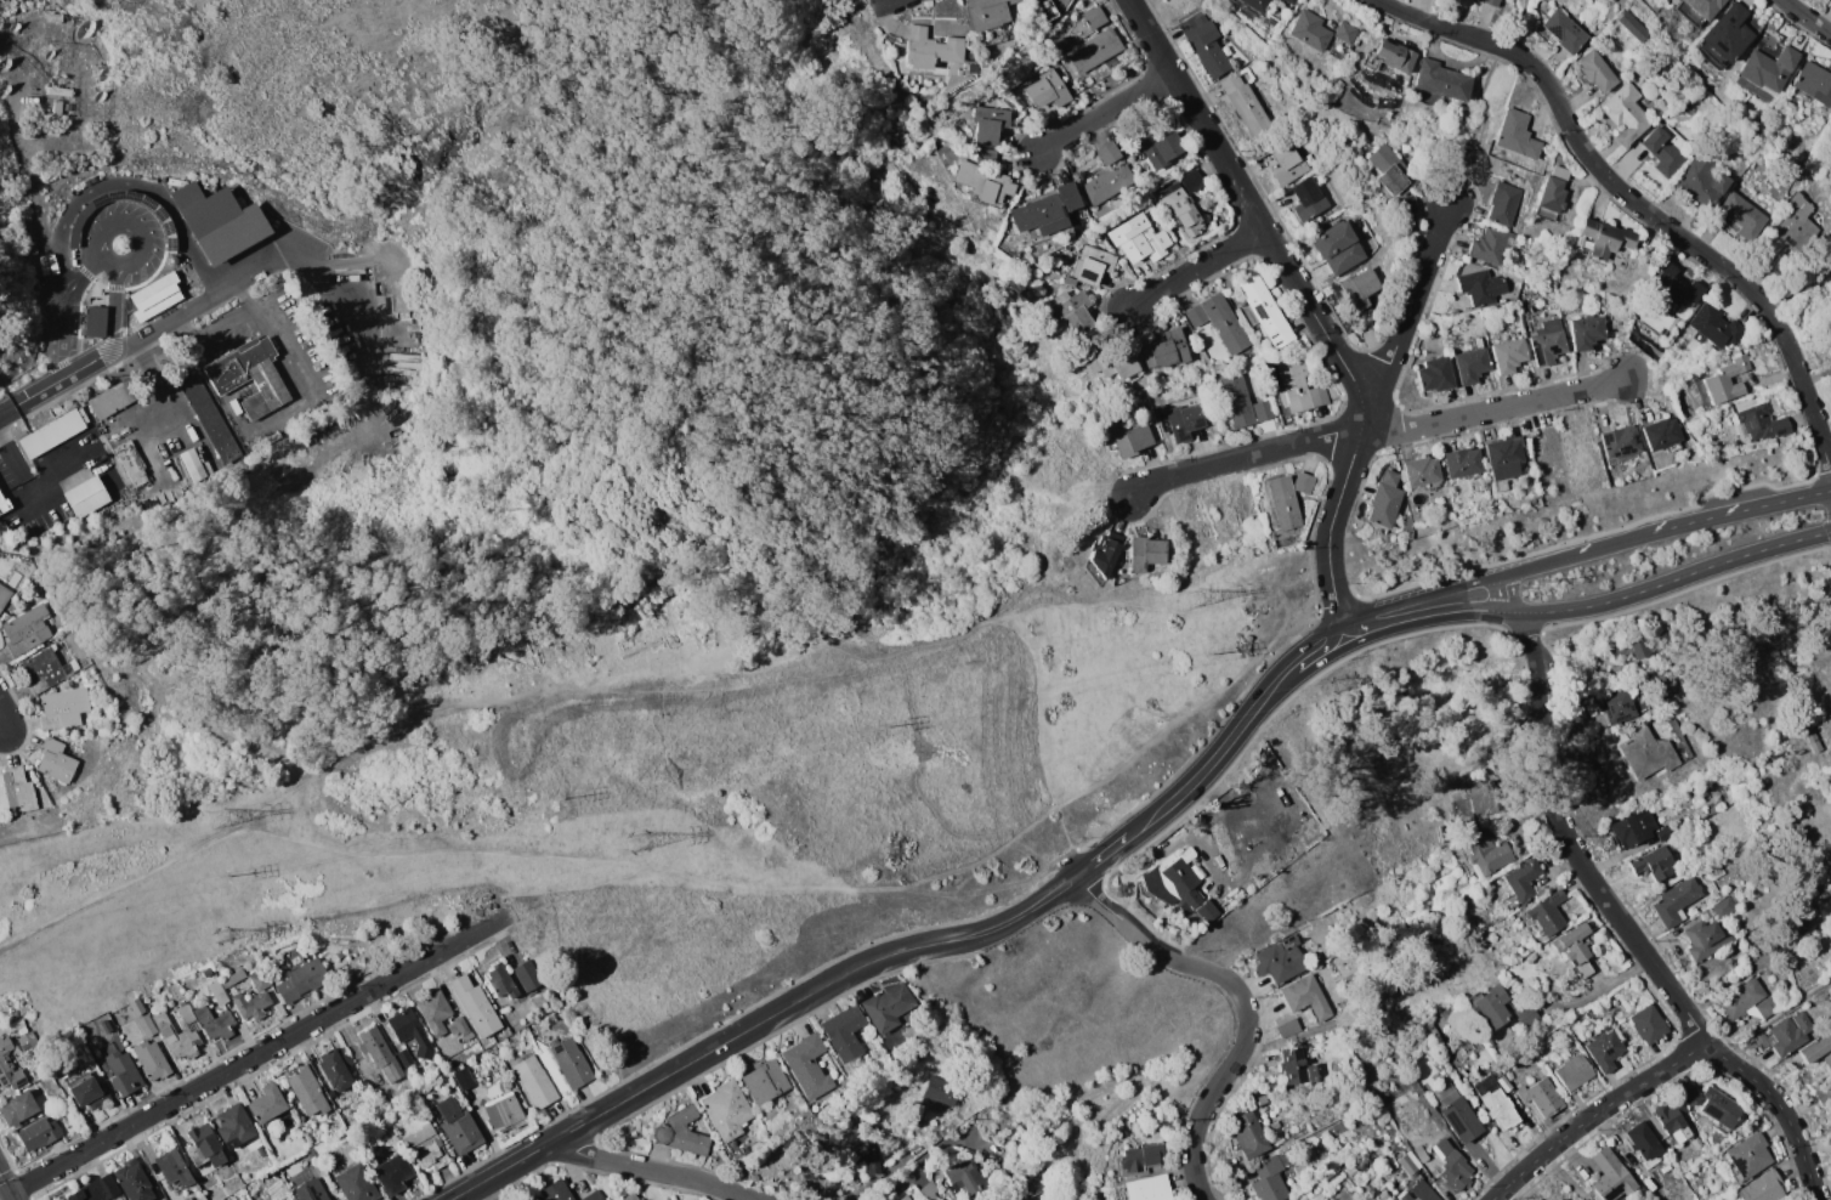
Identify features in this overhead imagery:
building: (1292, 1)
road: (857, 2)
road: (878, 2)
building: (1490, 2)
building: (1257, 5)
park: (8, 7)
building: (1047, 9)
building: (1696, 10)
building: (987, 13)
road: (1810, 15)
building: (55, 17)
building: (1094, 17)
building: (1310, 30)
building: (1563, 32)
building: (1345, 33)
building: (1724, 38)
building: (1203, 46)
building: (930, 49)
building: (1095, 51)
building: (1393, 56)
building: (1768, 68)
building: (1595, 70)
building: (1440, 80)
building: (1814, 83)
building: (1048, 90)
building: (58, 91)
building: (1246, 104)
building: (57, 107)
building: (68, 107)
road: (1484, 107)
building: (1626, 114)
road: (1111, 118)
building: (990, 121)
park: (510, 126)
building: (1515, 135)
building: (1160, 148)
building: (1665, 149)
building: (1287, 163)
building: (1387, 169)
building: (1107, 176)
building: (983, 177)
road: (127, 181)
building: (1191, 181)
building: (1702, 181)
building: (1552, 193)
road: (1626, 196)
building: (1306, 199)
building: (1502, 203)
building: (1406, 204)
building: (1180, 209)
building: (1047, 210)
road: (1262, 211)
building: (1744, 215)
road: (144, 216)
building: (1795, 216)
building: (165, 221)
building: (217, 221)
building: (1139, 238)
building: (1602, 238)
building: (1490, 244)
building: (1338, 248)
building: (1090, 266)
road: (107, 271)
road: (1206, 272)
road: (318, 278)
building: (1480, 285)
building: (1677, 287)
building: (1359, 288)
park: (19, 289)
road: (244, 295)
building: (154, 296)
road: (1415, 305)
building: (1264, 310)
building: (1071, 311)
road: (66, 313)
road: (176, 316)
road: (117, 317)
building: (1218, 321)
building: (92, 322)
building: (1714, 326)
building: (1586, 330)
building: (1829, 330)
road: (815, 332)
building: (1547, 341)
road: (293, 349)
building: (1166, 350)
building: (1508, 355)
building: (1111, 360)
building: (1470, 364)
building: (249, 375)
building: (1434, 375)
road: (64, 378)
building: (1727, 381)
building: (1299, 385)
road: (161, 387)
building: (114, 397)
building: (1243, 402)
building: (200, 403)
road: (7, 409)
road: (1497, 412)
building: (1183, 420)
building: (1759, 423)
building: (52, 432)
building: (1662, 435)
building: (1130, 440)
building: (1619, 441)
road: (1249, 458)
building: (1503, 459)
building: (1462, 462)
building: (132, 463)
building: (193, 464)
building: (1421, 471)
road: (18, 475)
building: (86, 497)
building: (1288, 498)
building: (1384, 499)
building: (4, 505)
road: (1740, 510)
building: (1405, 517)
road: (1332, 530)
building: (1144, 553)
road: (1577, 554)
building: (1102, 555)
road: (1673, 579)
power tower: (1537, 587)
road: (1506, 594)
building: (4, 596)
road: (1422, 596)
power tower: (1187, 598)
road: (182, 606)
road: (1429, 615)
building: (27, 629)
road: (1020, 630)
road: (1323, 650)
building: (1627, 653)
power tower: (1203, 655)
building: (44, 670)
road: (1536, 681)
power tower: (1337, 683)
road: (492, 697)
building: (1617, 706)
building: (63, 708)
road: (6, 712)
power tower: (879, 728)
road: (1246, 730)
building: (1809, 732)
building: (1645, 753)
building: (1829, 755)
building: (56, 760)
building: (1767, 774)
road: (1547, 781)
building: (16, 789)
power tower: (554, 800)
building: (1470, 805)
road: (1160, 811)
power tower: (217, 820)
building: (1633, 827)
road: (1563, 831)
building: (1665, 833)
power tower: (640, 844)
building: (1487, 851)
road: (1101, 855)
building: (1654, 864)
building: (1714, 867)
power tower: (221, 876)
road: (702, 877)
building: (1521, 878)
building: (1179, 881)
road: (1595, 887)
building: (1674, 901)
building: (1757, 902)
building: (1807, 905)
building: (1723, 907)
building: (1209, 909)
road: (1025, 910)
building: (1546, 912)
road: (1123, 921)
road: (1629, 934)
power tower: (225, 936)
building: (1702, 939)
road: (454, 945)
building: (1787, 946)
building: (1574, 947)
building: (1354, 951)
building: (1810, 953)
building: (339, 955)
building: (1281, 958)
building: (1733, 966)
road: (1206, 970)
building: (206, 973)
building: (527, 975)
building: (260, 979)
building: (301, 980)
building: (500, 981)
building: (225, 985)
building: (1308, 997)
road: (1674, 997)
building: (1742, 997)
building: (250, 1004)
building: (136, 1006)
building: (475, 1006)
building: (1489, 1006)
building: (1767, 1006)
building: (885, 1007)
building: (433, 1011)
building: (1524, 1015)
road: (1774, 1015)
building: (214, 1023)
building: (109, 1024)
building: (1648, 1024)
building: (146, 1025)
building: (165, 1028)
building: (459, 1028)
building: (1289, 1029)
building: (841, 1031)
building: (410, 1032)
building: (1790, 1034)
building: (28, 1040)
building: (491, 1048)
building: (1604, 1049)
building: (1818, 1049)
road: (705, 1053)
building: (379, 1054)
building: (346, 1057)
building: (404, 1057)
building: (1449, 1057)
building: (152, 1060)
building: (571, 1060)
road: (1730, 1062)
building: (137, 1064)
building: (1292, 1065)
building: (7, 1066)
building: (807, 1066)
building: (334, 1070)
building: (121, 1072)
building: (1315, 1072)
building: (1574, 1072)
building: (464, 1077)
building: (535, 1081)
building: (764, 1081)
road: (204, 1083)
road: (1212, 1088)
building: (1823, 1089)
building: (86, 1091)
building: (306, 1091)
building: (942, 1091)
building: (1538, 1092)
building: (1690, 1093)
building: (331, 1094)
road: (1770, 1094)
building: (1260, 1098)
building: (1496, 1102)
building: (265, 1103)
building: (1719, 1108)
building: (17, 1109)
building: (725, 1109)
building: (504, 1113)
road: (1594, 1114)
building: (1459, 1120)
building: (1672, 1120)
building: (233, 1125)
building: (458, 1126)
building: (680, 1132)
building: (38, 1134)
building: (1249, 1134)
building: (279, 1138)
building: (421, 1140)
building: (1643, 1140)
building: (204, 1145)
building: (244, 1148)
road: (931, 1148)
building: (260, 1151)
building: (1421, 1153)
building: (1747, 1155)
road: (1801, 1155)
building: (1138, 1156)
building: (871, 1157)
building: (335, 1159)
building: (1408, 1162)
building: (339, 1164)
building: (1452, 1165)
building: (171, 1167)
road: (637, 1168)
building: (391, 1173)
building: (1332, 1174)
building: (1610, 1174)
building: (963, 1176)
building: (1269, 1179)
building: (132, 1181)
road: (5, 1183)
building: (356, 1183)
building: (1037, 1187)
building: (1147, 1188)
building: (1761, 1188)
building: (95, 1189)
building: (310, 1190)
building: (555, 1190)
building: (929, 1190)
building: (1372, 1191)
building: (1419, 1191)
road: (738, 1195)
road: (11, 1196)
building: (591, 1196)
building: (629, 1196)
building: (905, 1198)
building: (186, 1199)
building: (667, 1199)
building: (1537, 1199)
building: (1564, 1199)
building: (1582, 1199)

